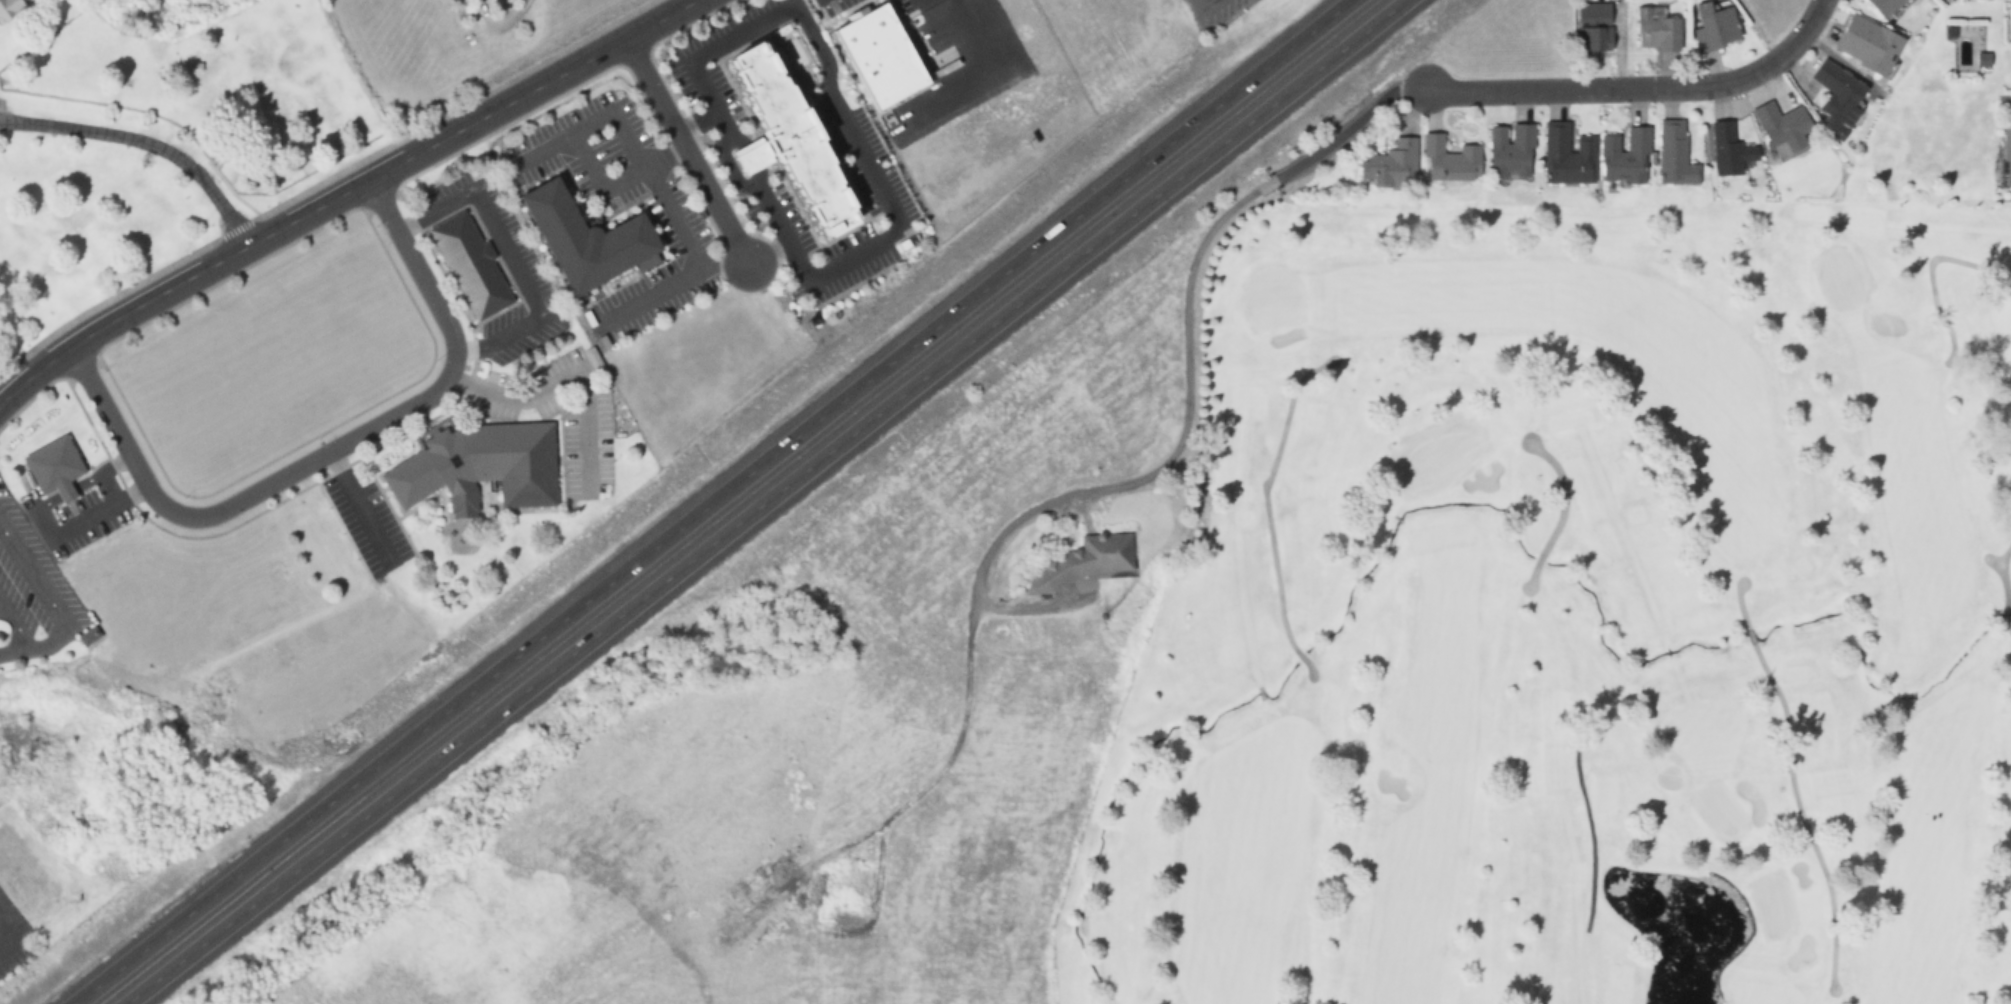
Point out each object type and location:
building: (1884, 6)
building: (9, 8)
building: (1716, 26)
building: (1594, 27)
building: (1657, 30)
building: (1867, 43)
road: (1639, 86)
building: (1839, 97)
road: (452, 109)
road: (696, 121)
road: (844, 122)
building: (1783, 128)
building: (791, 139)
road: (680, 141)
road: (145, 142)
building: (1726, 148)
park: (159, 151)
road: (581, 151)
building: (1512, 151)
building: (2006, 152)
building: (1676, 154)
building: (1569, 156)
road: (751, 157)
building: (1627, 157)
building: (1452, 160)
building: (1393, 165)
road: (342, 193)
road: (235, 228)
building: (588, 240)
road: (779, 252)
road: (507, 257)
road: (768, 258)
road: (695, 263)
building: (470, 264)
road: (712, 266)
road: (105, 298)
road: (567, 376)
road: (325, 454)
building: (479, 465)
building: (55, 468)
road: (101, 472)
road: (65, 492)
road: (714, 502)
road: (765, 502)
road: (359, 508)
road: (73, 526)
building: (1098, 555)
road: (58, 615)
park: (1577, 618)
building: (88, 636)
building: (849, 888)
road: (11, 935)
building: (795, 949)

